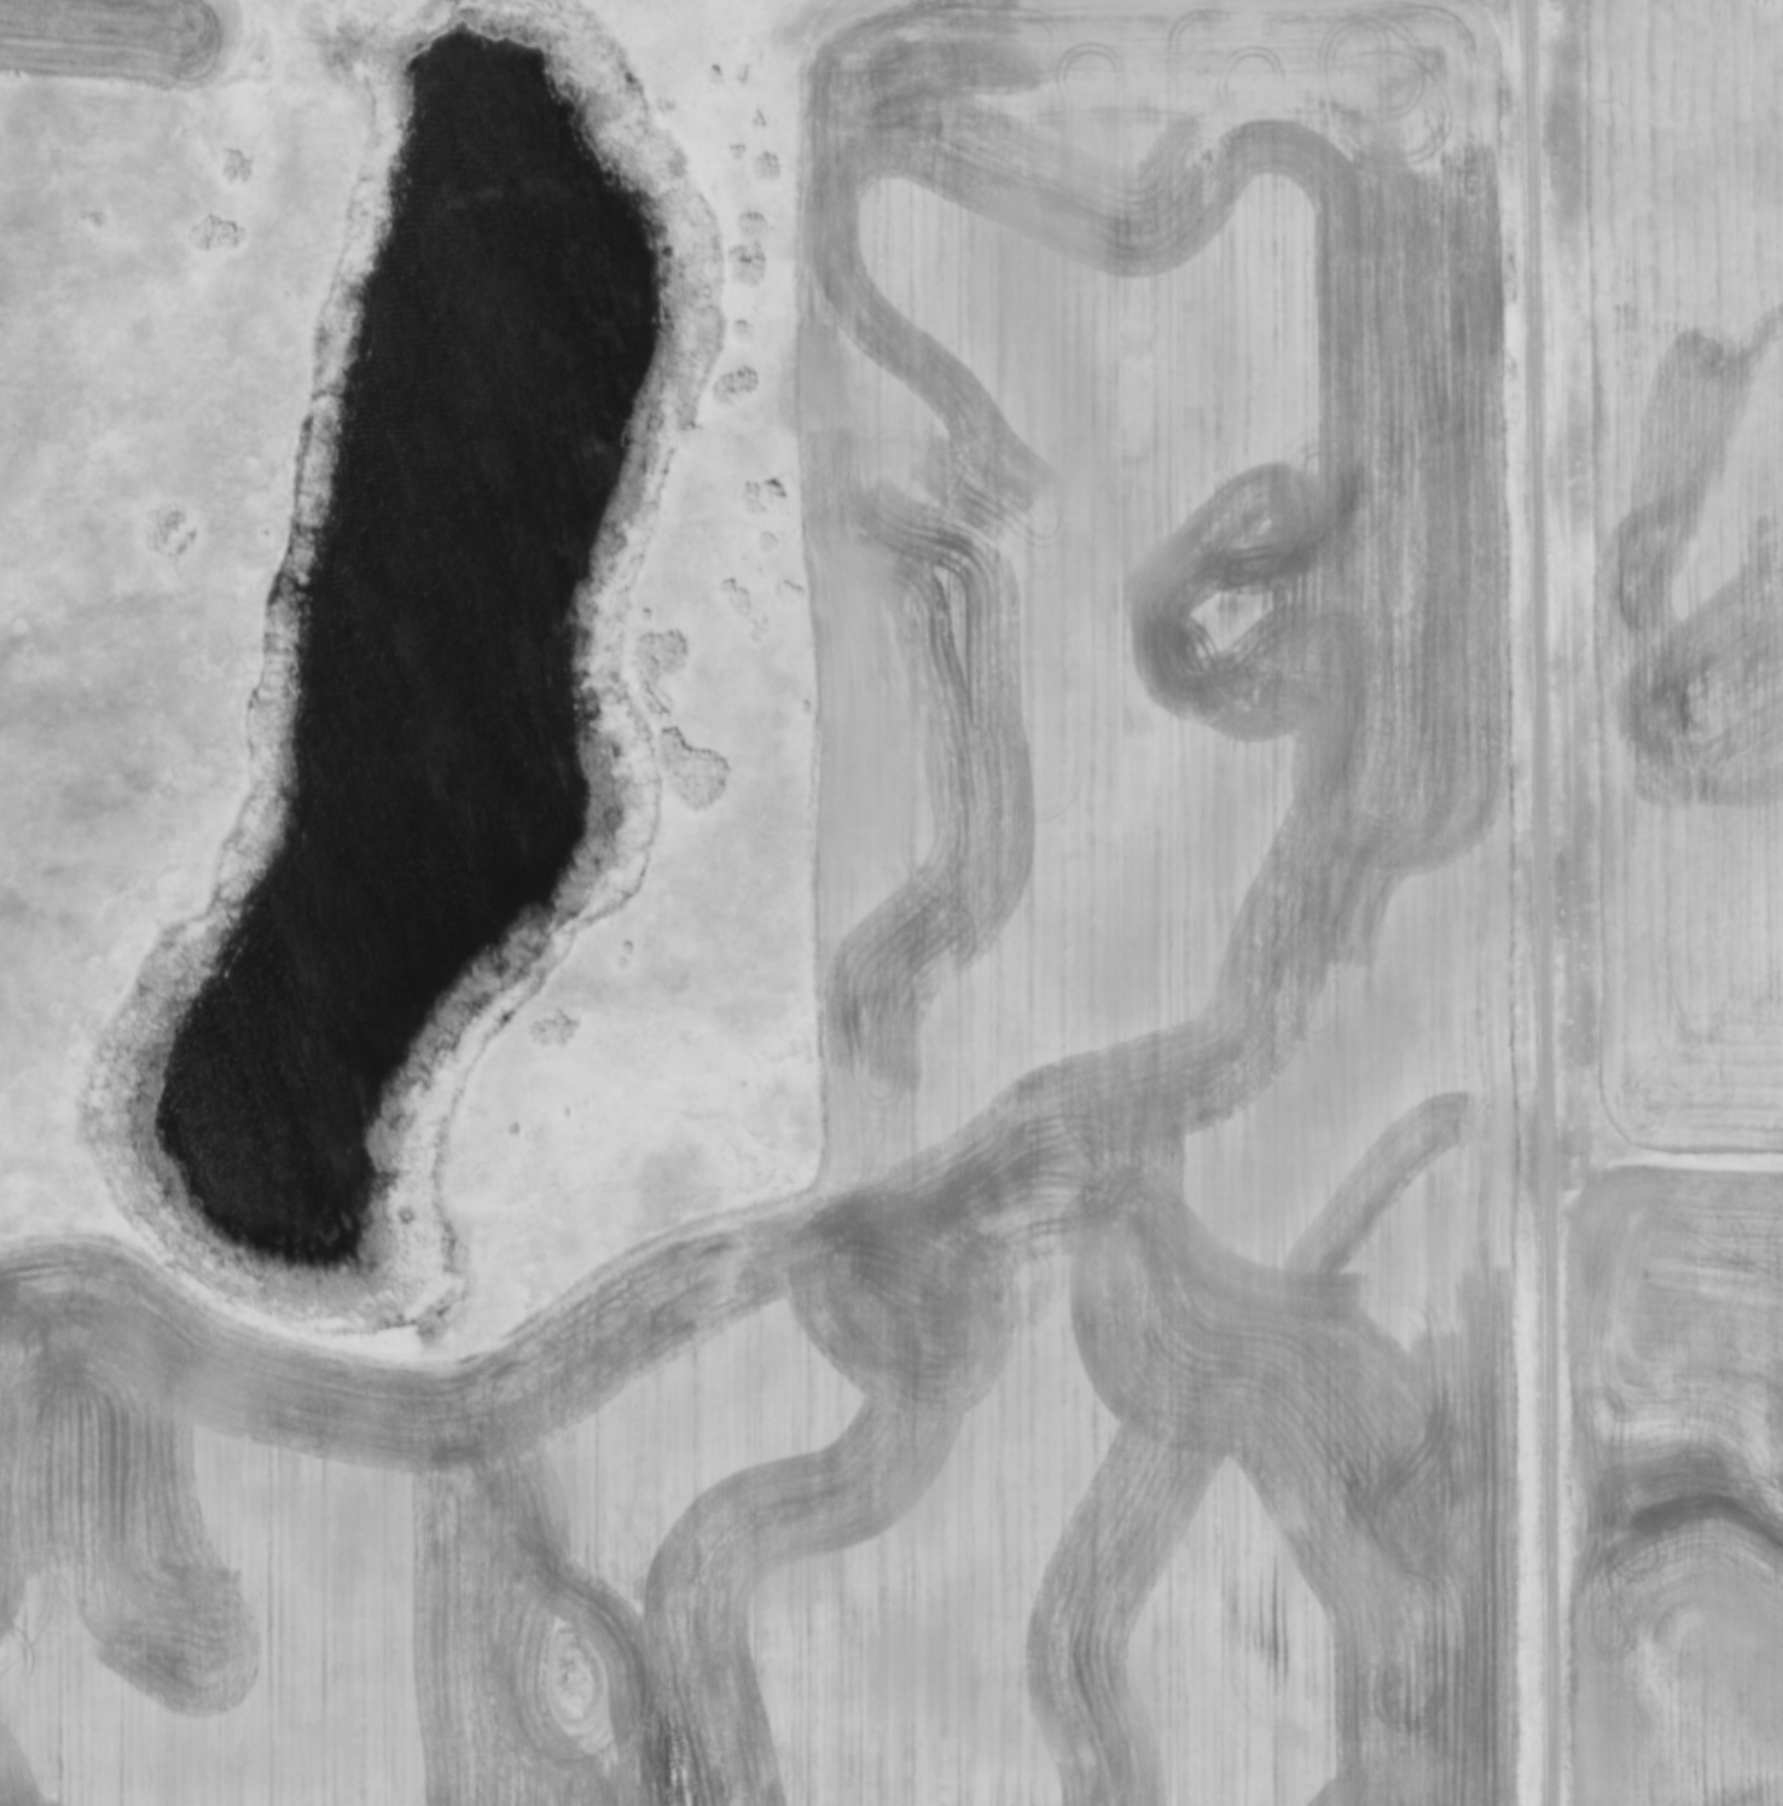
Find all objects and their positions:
road: (1552, 902)

